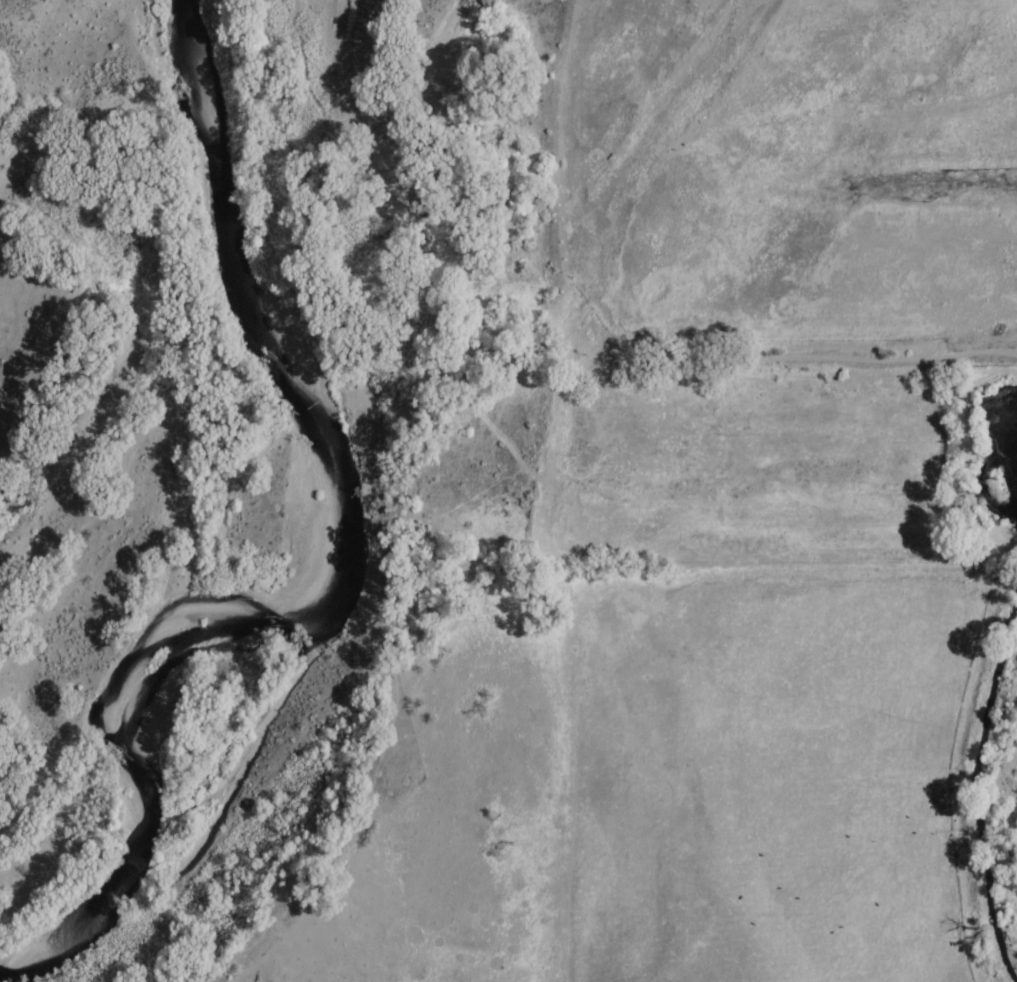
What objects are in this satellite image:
river: (204, 492)

